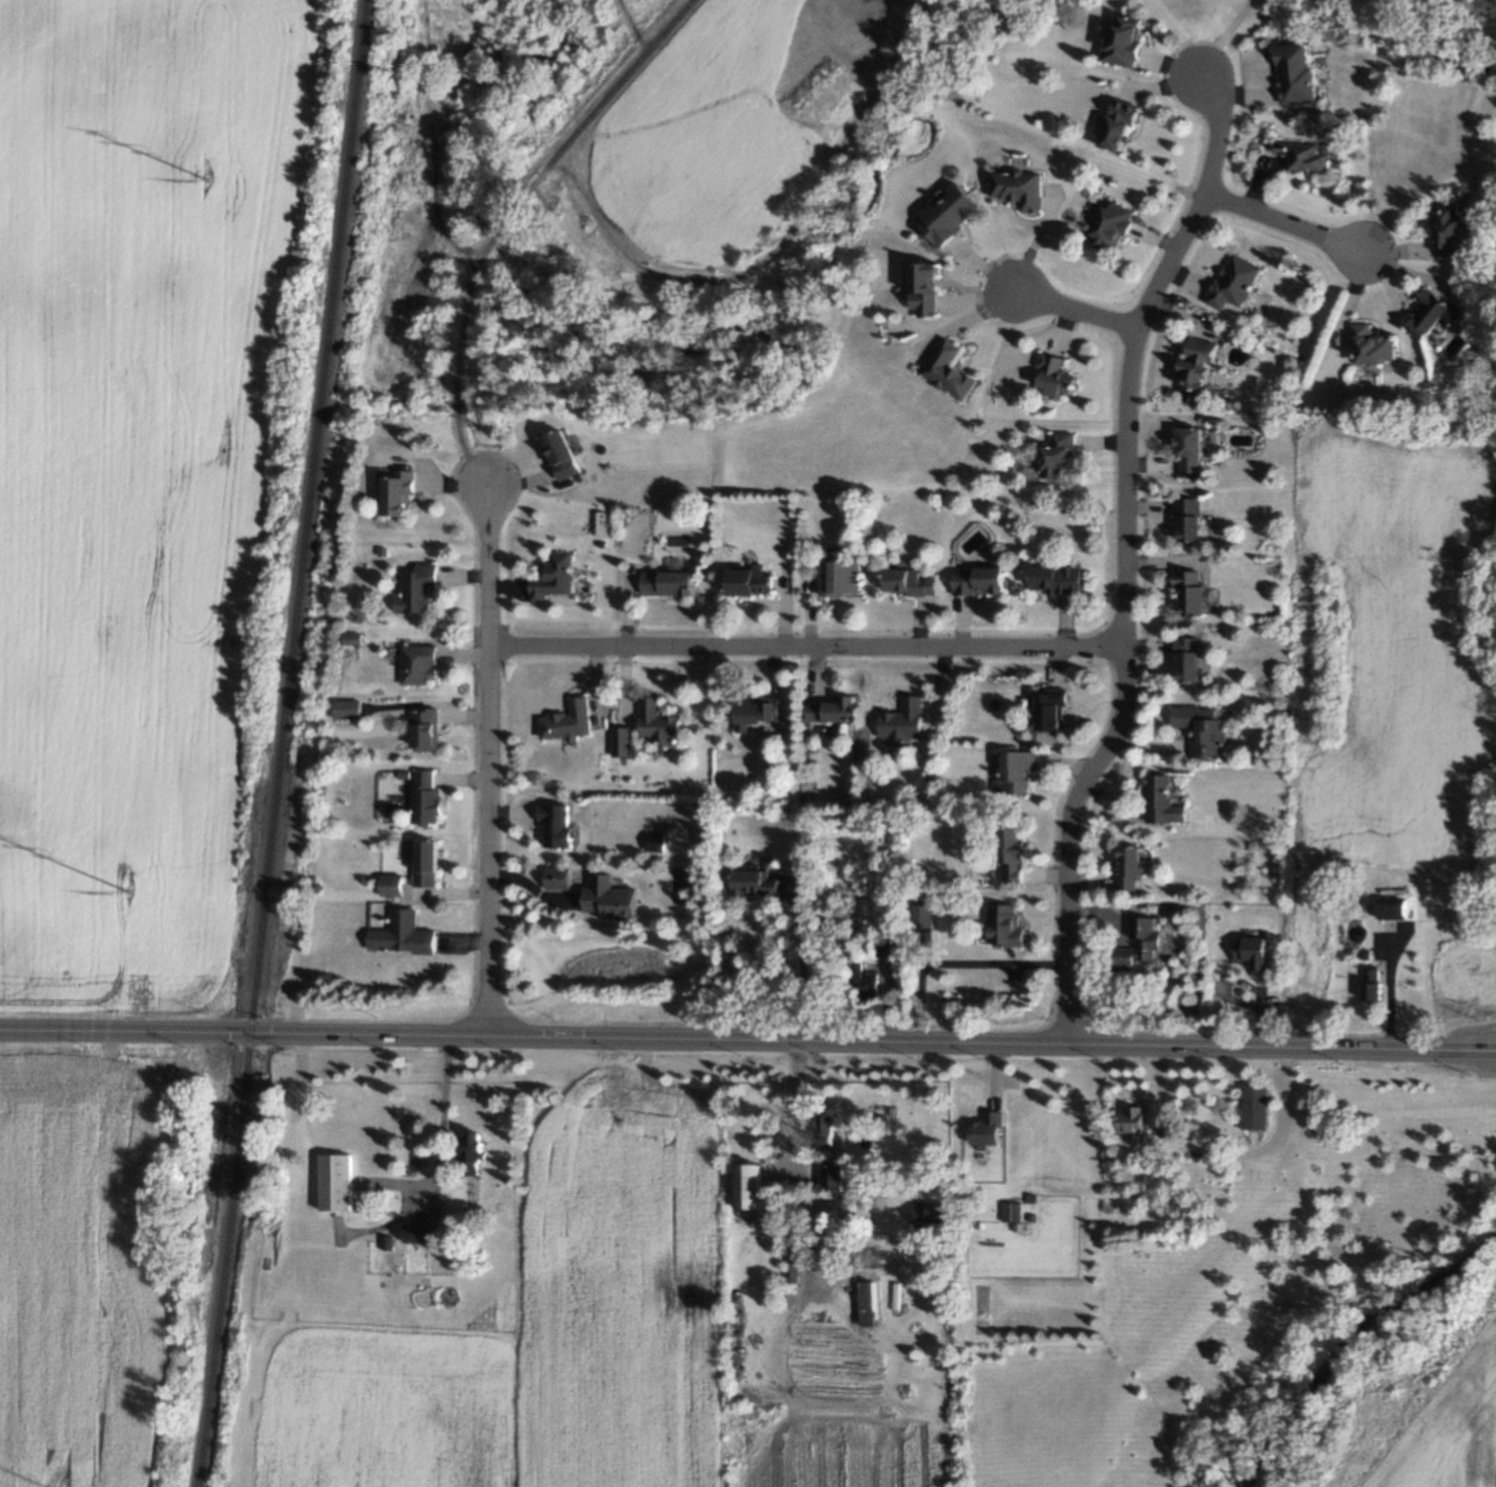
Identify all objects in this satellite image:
road: (1219, 37)
building: (1126, 41)
building: (1293, 75)
building: (1116, 127)
building: (1300, 157)
power tower: (203, 180)
building: (1018, 191)
road: (505, 217)
building: (949, 219)
building: (1108, 224)
road: (1281, 224)
building: (1447, 229)
building: (1230, 288)
building: (923, 291)
road: (1071, 309)
building: (1433, 315)
building: (1370, 348)
building: (1194, 372)
building: (946, 374)
building: (1051, 380)
building: (1190, 444)
building: (561, 456)
building: (1054, 457)
building: (400, 495)
building: (1188, 514)
building: (383, 552)
road: (1120, 553)
building: (900, 574)
building: (744, 576)
building: (1047, 576)
building: (977, 578)
building: (842, 579)
building: (551, 583)
building: (667, 586)
building: (418, 590)
building: (1189, 596)
building: (353, 640)
road: (802, 641)
building: (1188, 659)
building: (417, 671)
building: (755, 706)
building: (1044, 706)
building: (827, 707)
building: (346, 710)
building: (900, 716)
building: (1199, 722)
building: (569, 726)
building: (658, 729)
building: (423, 732)
building: (620, 741)
railway: (276, 743)
road: (489, 754)
building: (1012, 768)
building: (404, 776)
building: (1155, 791)
building: (425, 806)
building: (554, 827)
building: (655, 845)
building: (1131, 858)
building: (1011, 861)
building: (426, 870)
building: (557, 882)
building: (317, 886)
building: (754, 886)
building: (391, 887)
power tower: (123, 889)
building: (609, 900)
building: (1357, 903)
building: (1395, 907)
building: (921, 918)
building: (1003, 929)
building: (401, 937)
building: (893, 947)
building: (1136, 950)
building: (1365, 952)
building: (1249, 954)
road: (791, 959)
road: (955, 961)
building: (1374, 983)
building: (871, 984)
road: (1386, 993)
road: (62, 1031)
road: (810, 1037)
building: (1254, 1108)
road: (440, 1112)
building: (1129, 1121)
building: (983, 1126)
road: (792, 1128)
building: (825, 1128)
building: (472, 1145)
road: (1222, 1151)
building: (832, 1172)
building: (337, 1183)
building: (749, 1191)
building: (464, 1197)
building: (1012, 1214)
building: (929, 1217)
building: (847, 1222)
building: (424, 1236)
building: (390, 1242)
building: (859, 1243)
building: (828, 1249)
building: (792, 1264)
building: (866, 1310)

